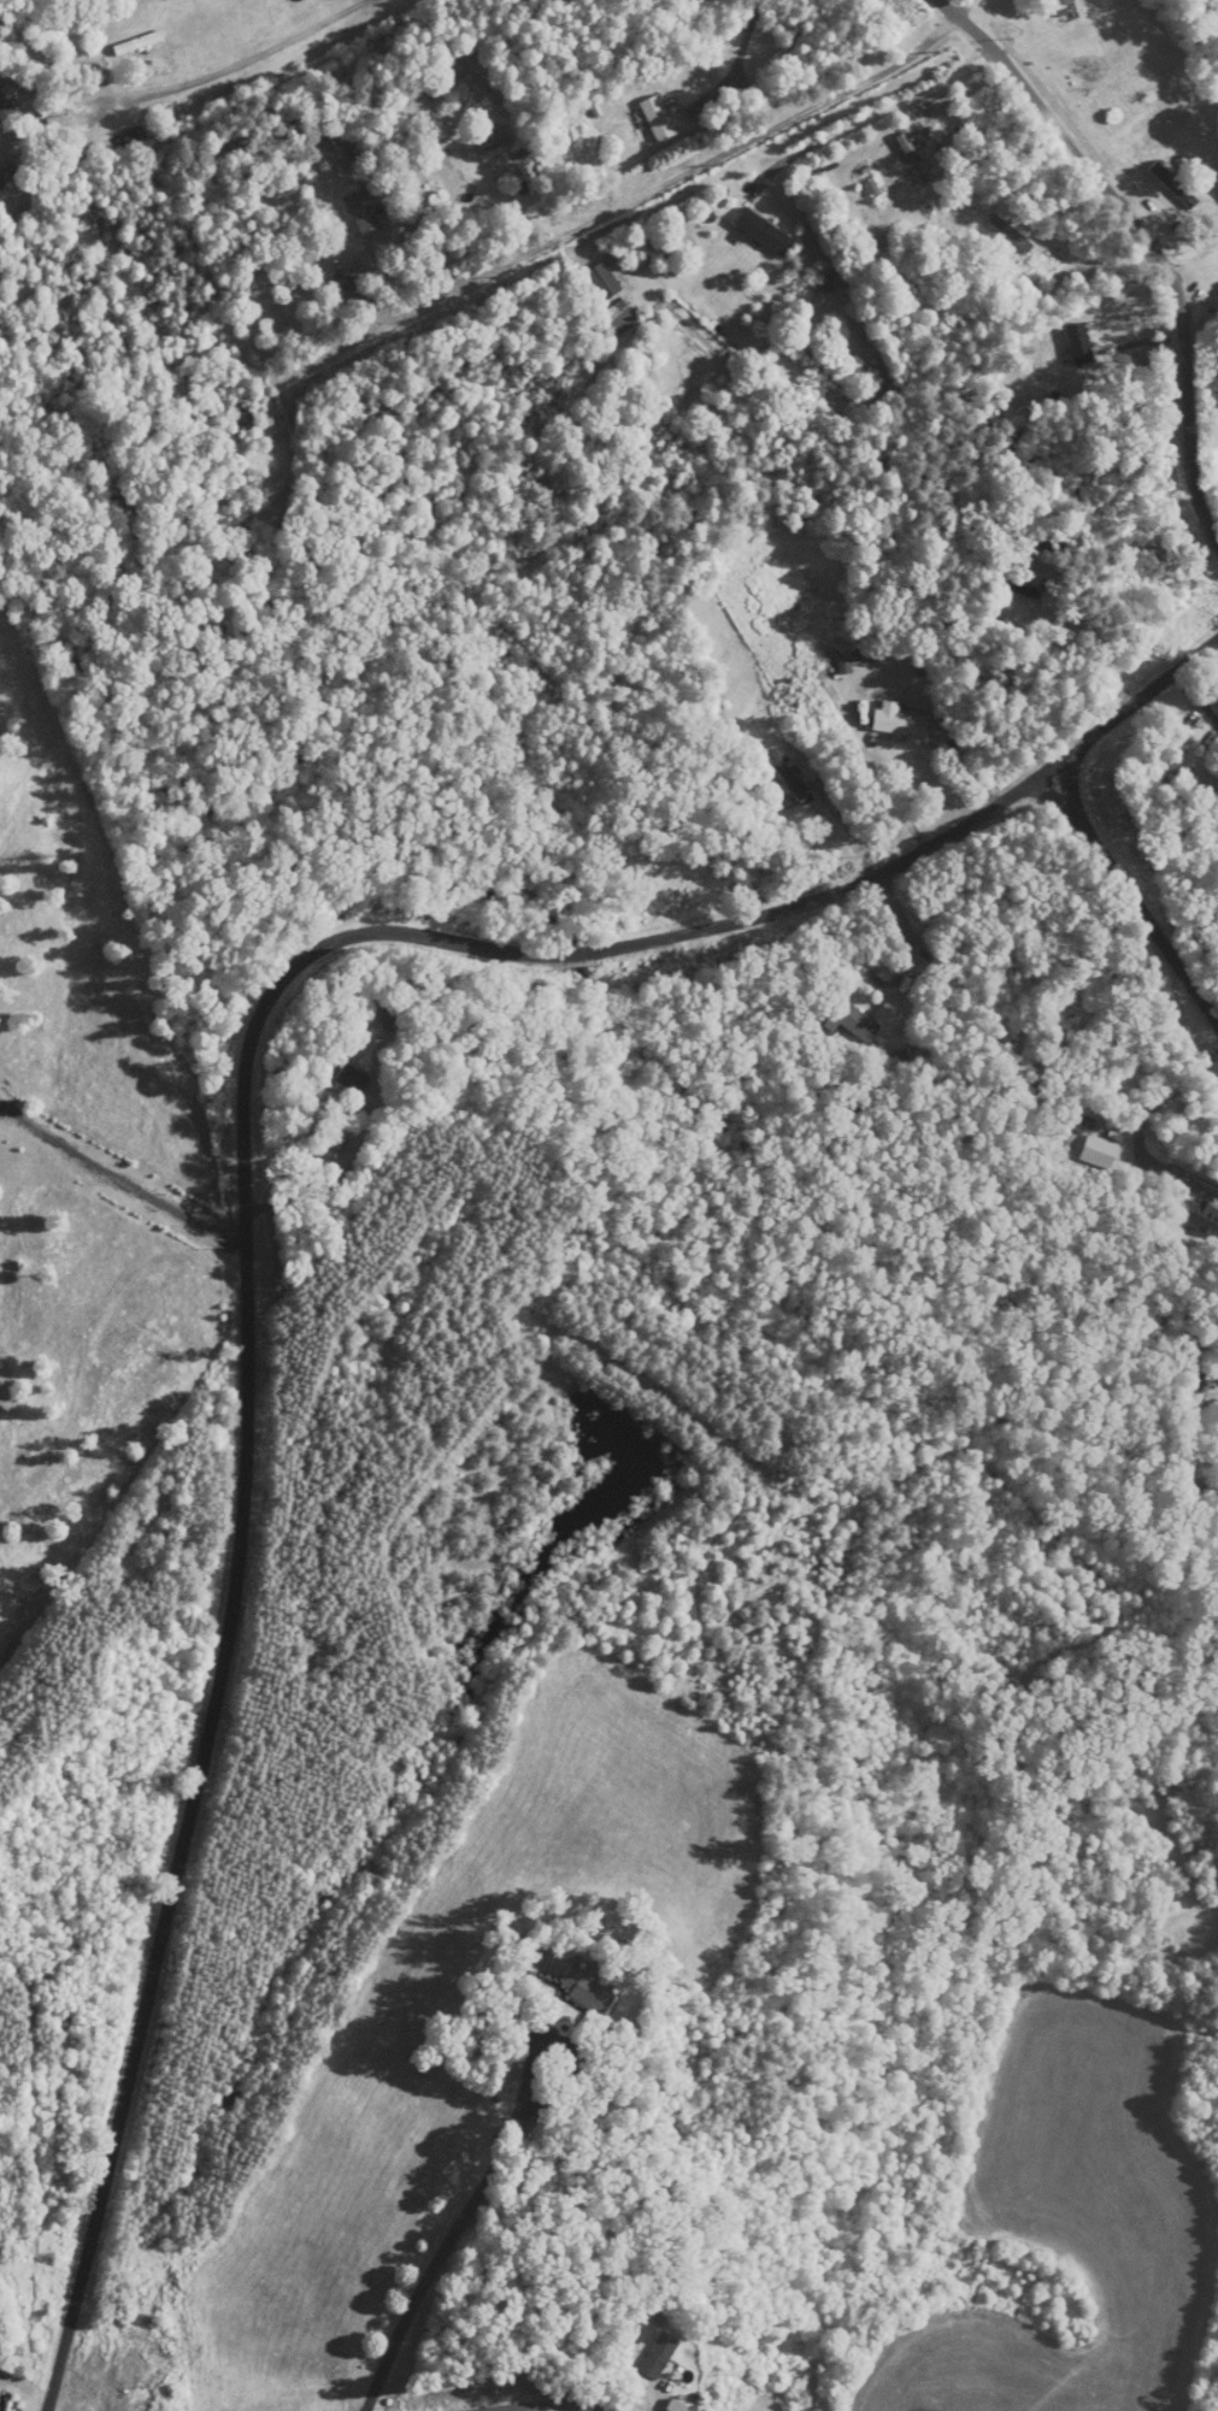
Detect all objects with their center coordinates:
building: (1060, 6)
building: (142, 43)
road: (737, 59)
road: (231, 66)
building: (110, 90)
building: (5, 107)
road: (890, 107)
building: (658, 118)
building: (118, 125)
building: (912, 157)
building: (1177, 188)
road: (631, 201)
building: (363, 211)
building: (764, 231)
building: (1011, 234)
road: (1146, 236)
building: (618, 313)
building: (241, 419)
building: (242, 561)
building: (1019, 589)
building: (898, 721)
building: (785, 774)
road: (1132, 889)
road: (1118, 983)
road: (1155, 1008)
building: (395, 1014)
building: (852, 1021)
road: (1196, 1038)
road: (1208, 1068)
building: (351, 1080)
road: (119, 1177)
road: (245, 1183)
building: (1199, 1215)
road: (1028, 1271)
road: (707, 1290)
building: (586, 1988)
road: (567, 2046)
road: (431, 2273)
road: (630, 2322)
building: (659, 2356)
road: (542, 2399)

